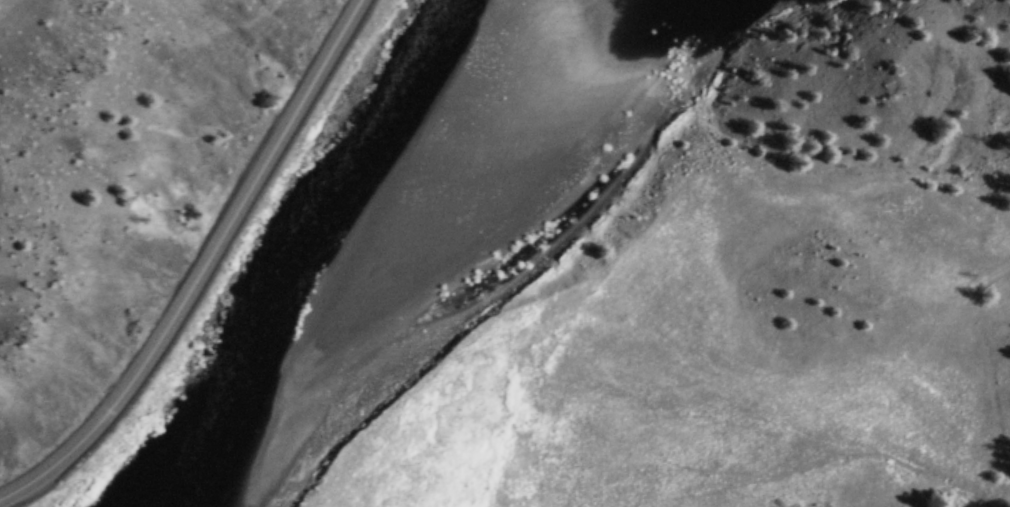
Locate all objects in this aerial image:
river: (319, 254)
road: (211, 270)

